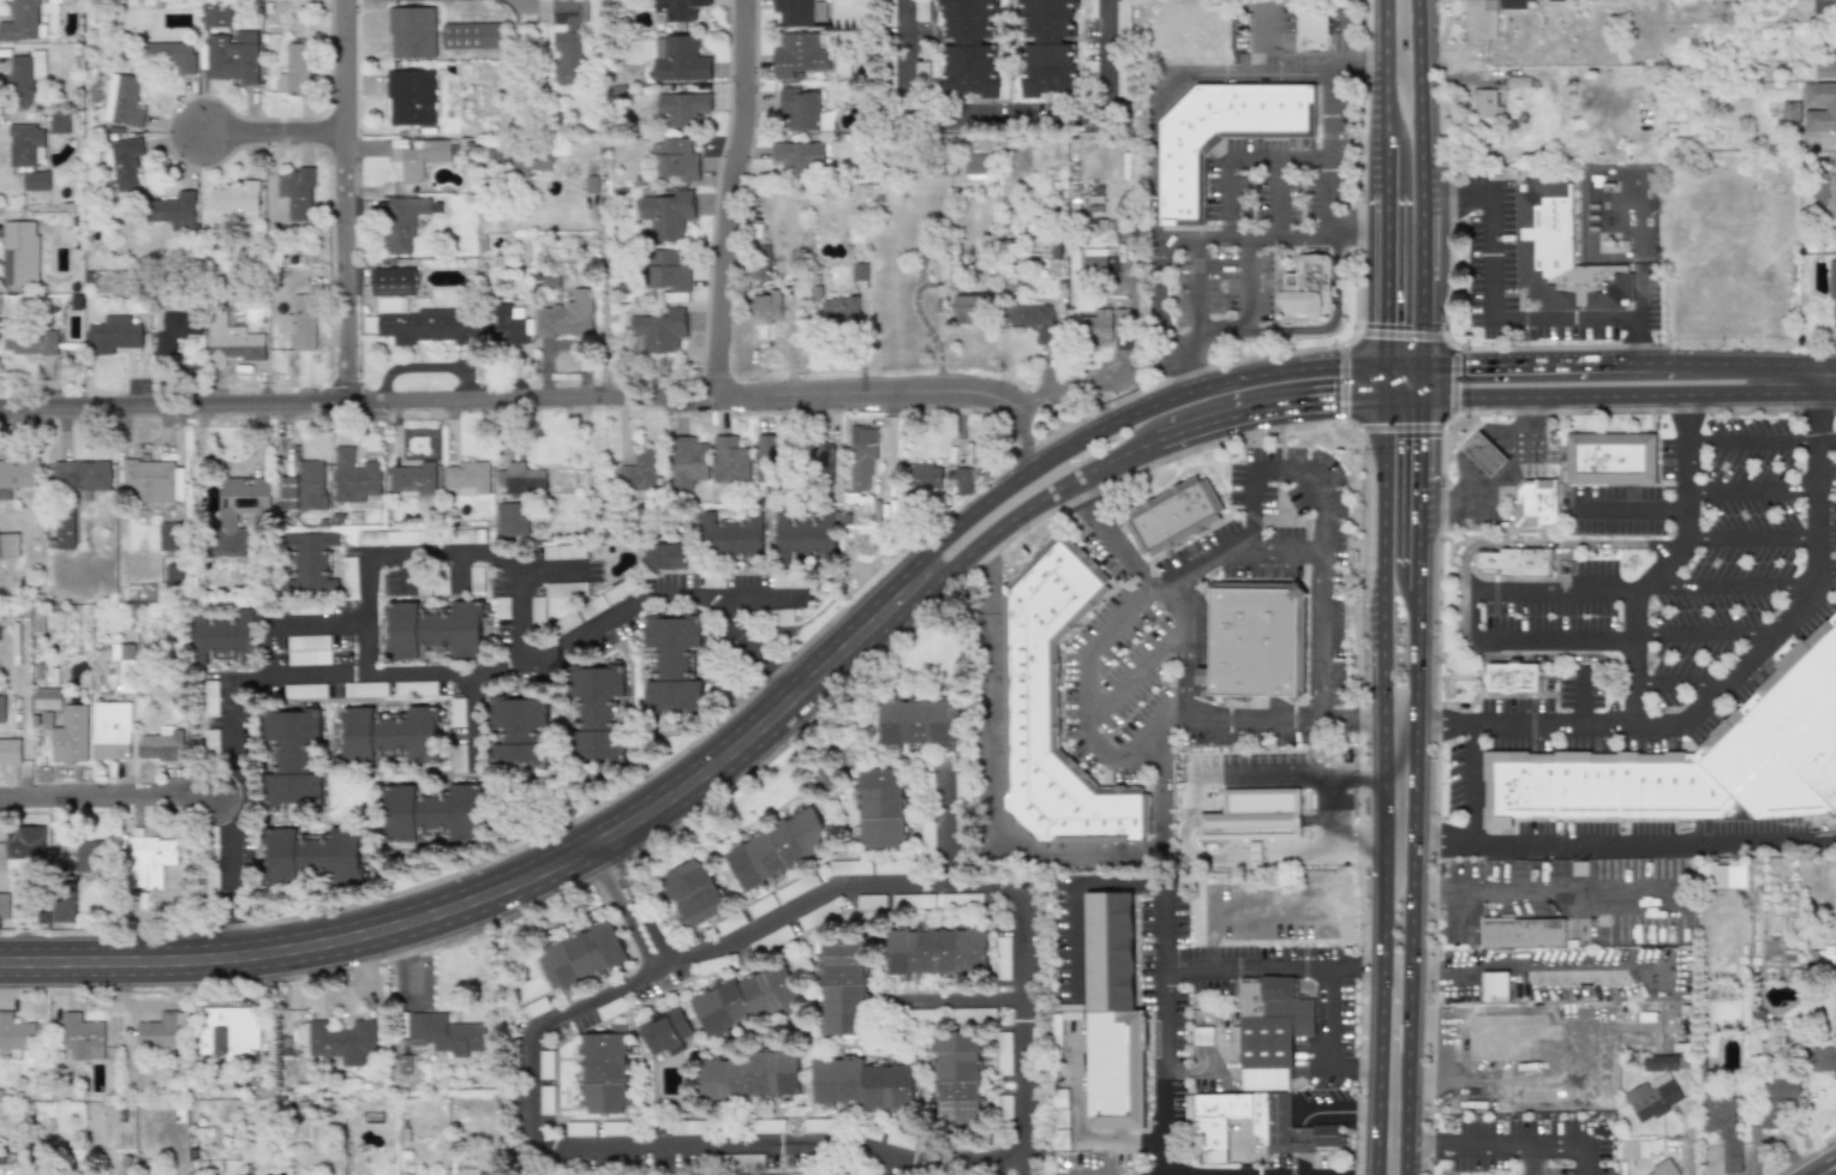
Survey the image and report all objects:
building: (1511, 4)
building: (1816, 7)
building: (1089, 8)
building: (682, 11)
building: (920, 11)
road: (522, 12)
building: (801, 12)
building: (217, 13)
building: (1122, 18)
building: (1479, 19)
building: (20, 22)
building: (1310, 29)
building: (413, 31)
building: (473, 36)
road: (1401, 37)
building: (570, 42)
road: (1269, 43)
building: (968, 47)
building: (1046, 47)
building: (172, 53)
building: (799, 54)
building: (234, 55)
building: (678, 59)
building: (1826, 70)
building: (298, 72)
building: (920, 73)
building: (24, 77)
building: (411, 97)
building: (127, 102)
building: (1484, 103)
building: (1820, 106)
building: (682, 108)
building: (803, 109)
road: (993, 109)
building: (1790, 112)
road: (1330, 115)
road: (1154, 116)
building: (59, 121)
road: (1401, 134)
road: (273, 136)
building: (1220, 137)
building: (25, 145)
building: (421, 156)
building: (799, 156)
building: (521, 160)
building: (678, 161)
road: (1244, 161)
building: (126, 164)
building: (976, 166)
building: (36, 180)
building: (592, 182)
building: (298, 191)
building: (1831, 191)
building: (235, 197)
road: (722, 197)
road: (1332, 197)
road: (1446, 197)
road: (1275, 198)
road: (343, 203)
building: (172, 209)
building: (666, 214)
road: (1401, 214)
building: (401, 222)
road: (1366, 234)
road: (1304, 235)
road: (1214, 238)
building: (18, 251)
building: (1559, 254)
building: (1093, 259)
building: (859, 271)
building: (671, 272)
road: (1401, 280)
road: (1249, 284)
building: (1831, 286)
road: (1197, 287)
building: (1306, 287)
road: (605, 302)
building: (767, 307)
building: (969, 308)
building: (839, 310)
building: (413, 313)
building: (566, 314)
road: (1639, 318)
building: (1029, 319)
road: (1505, 319)
building: (301, 322)
building: (507, 324)
building: (174, 328)
building: (1095, 328)
building: (662, 331)
road: (1294, 331)
building: (113, 335)
road: (1393, 335)
road: (1411, 336)
building: (30, 341)
building: (231, 341)
road: (1385, 355)
road: (1419, 355)
road: (1627, 362)
road: (1401, 365)
road: (1812, 379)
road: (1383, 380)
road: (1419, 380)
road: (1196, 388)
road: (1627, 395)
road: (1401, 397)
road: (542, 401)
road: (1383, 433)
road: (1418, 439)
road: (1750, 442)
road: (1825, 442)
building: (1483, 454)
building: (769, 458)
building: (862, 458)
building: (1610, 458)
building: (817, 460)
building: (729, 461)
building: (688, 462)
building: (639, 469)
building: (82, 474)
building: (18, 475)
building: (927, 475)
building: (355, 476)
building: (467, 476)
building: (524, 478)
building: (150, 479)
building: (412, 479)
road: (1501, 479)
building: (964, 480)
building: (304, 487)
road: (1751, 490)
building: (1535, 503)
building: (237, 510)
road: (1628, 510)
building: (1172, 515)
building: (510, 518)
road: (1383, 518)
road: (1320, 521)
road: (1416, 526)
building: (65, 535)
road: (1107, 535)
building: (396, 536)
building: (465, 536)
building: (732, 536)
building: (168, 538)
building: (802, 538)
road: (1751, 538)
building: (8, 545)
building: (563, 551)
road: (1263, 554)
building: (664, 556)
road: (430, 560)
building: (1517, 562)
road: (1665, 562)
building: (310, 563)
building: (173, 572)
road: (552, 572)
road: (1177, 574)
building: (348, 577)
building: (474, 578)
building: (789, 581)
road: (1416, 581)
building: (441, 584)
road: (1727, 587)
building: (566, 589)
road: (1554, 591)
road: (749, 595)
building: (604, 600)
building: (501, 607)
building: (311, 610)
building: (538, 612)
building: (775, 616)
road: (1471, 617)
road: (315, 621)
building: (566, 623)
building: (435, 630)
road: (1702, 636)
building: (223, 637)
road: (1381, 637)
road: (741, 639)
building: (1254, 639)
road: (1555, 639)
building: (307, 649)
road: (1415, 649)
building: (672, 663)
road: (1132, 673)
building: (1513, 678)
road: (413, 679)
road: (1680, 681)
building: (414, 688)
road: (1718, 688)
building: (365, 689)
building: (304, 690)
building: (47, 691)
road: (795, 694)
building: (210, 701)
building: (1054, 706)
building: (1, 708)
building: (456, 712)
building: (596, 713)
road: (1086, 715)
road: (1216, 718)
building: (903, 723)
building: (944, 723)
road: (471, 724)
building: (109, 730)
building: (519, 730)
building: (70, 736)
building: (390, 736)
building: (211, 742)
building: (163, 744)
building: (10, 750)
building: (293, 756)
building: (1696, 759)
road: (730, 771)
road: (1285, 773)
road: (1364, 779)
road: (1473, 783)
road: (1398, 786)
road: (110, 796)
building: (880, 808)
road: (1329, 813)
building: (432, 814)
building: (1254, 815)
road: (1001, 831)
road: (586, 833)
building: (926, 838)
road: (943, 838)
road: (572, 840)
road: (1364, 845)
road: (1617, 845)
building: (24, 847)
building: (778, 847)
road: (1256, 847)
building: (96, 853)
building: (1254, 855)
building: (316, 856)
building: (148, 858)
building: (210, 859)
road: (234, 868)
building: (849, 868)
building: (890, 868)
building: (1727, 875)
building: (796, 887)
building: (694, 892)
road: (1542, 894)
building: (911, 900)
building: (868, 901)
building: (5, 905)
road: (642, 906)
building: (760, 906)
building: (62, 911)
building: (817, 915)
road: (620, 916)
building: (729, 922)
road: (1164, 929)
building: (1521, 933)
building: (771, 939)
building: (935, 951)
road: (234, 955)
building: (582, 955)
building: (1003, 958)
road: (1273, 965)
road: (1541, 966)
road: (1381, 973)
road: (1410, 976)
building: (842, 987)
building: (1494, 987)
building: (769, 990)
road: (953, 997)
building: (534, 1007)
building: (719, 1008)
building: (973, 1014)
building: (1112, 1014)
road: (1330, 1014)
road: (1393, 1019)
building: (1268, 1030)
building: (229, 1031)
building: (664, 1031)
building: (16, 1033)
building: (160, 1033)
building: (447, 1033)
building: (1501, 1033)
building: (1201, 1035)
building: (82, 1037)
building: (342, 1041)
road: (1556, 1049)
building: (1003, 1053)
building: (1824, 1059)
building: (1659, 1062)
building: (545, 1063)
building: (405, 1065)
road: (1358, 1066)
building: (605, 1071)
building: (748, 1075)
building: (957, 1078)
building: (837, 1080)
building: (887, 1086)
building: (1651, 1097)
building: (1775, 1097)
building: (545, 1099)
building: (1004, 1107)
road: (1345, 1114)
building: (1060, 1120)
building: (1251, 1123)
building: (1721, 1125)
road: (1392, 1126)
building: (581, 1128)
road: (1502, 1144)
building: (1633, 1149)
road: (946, 1159)
road: (1525, 1159)
road: (1820, 1165)
building: (1664, 1167)
road: (1156, 1171)

